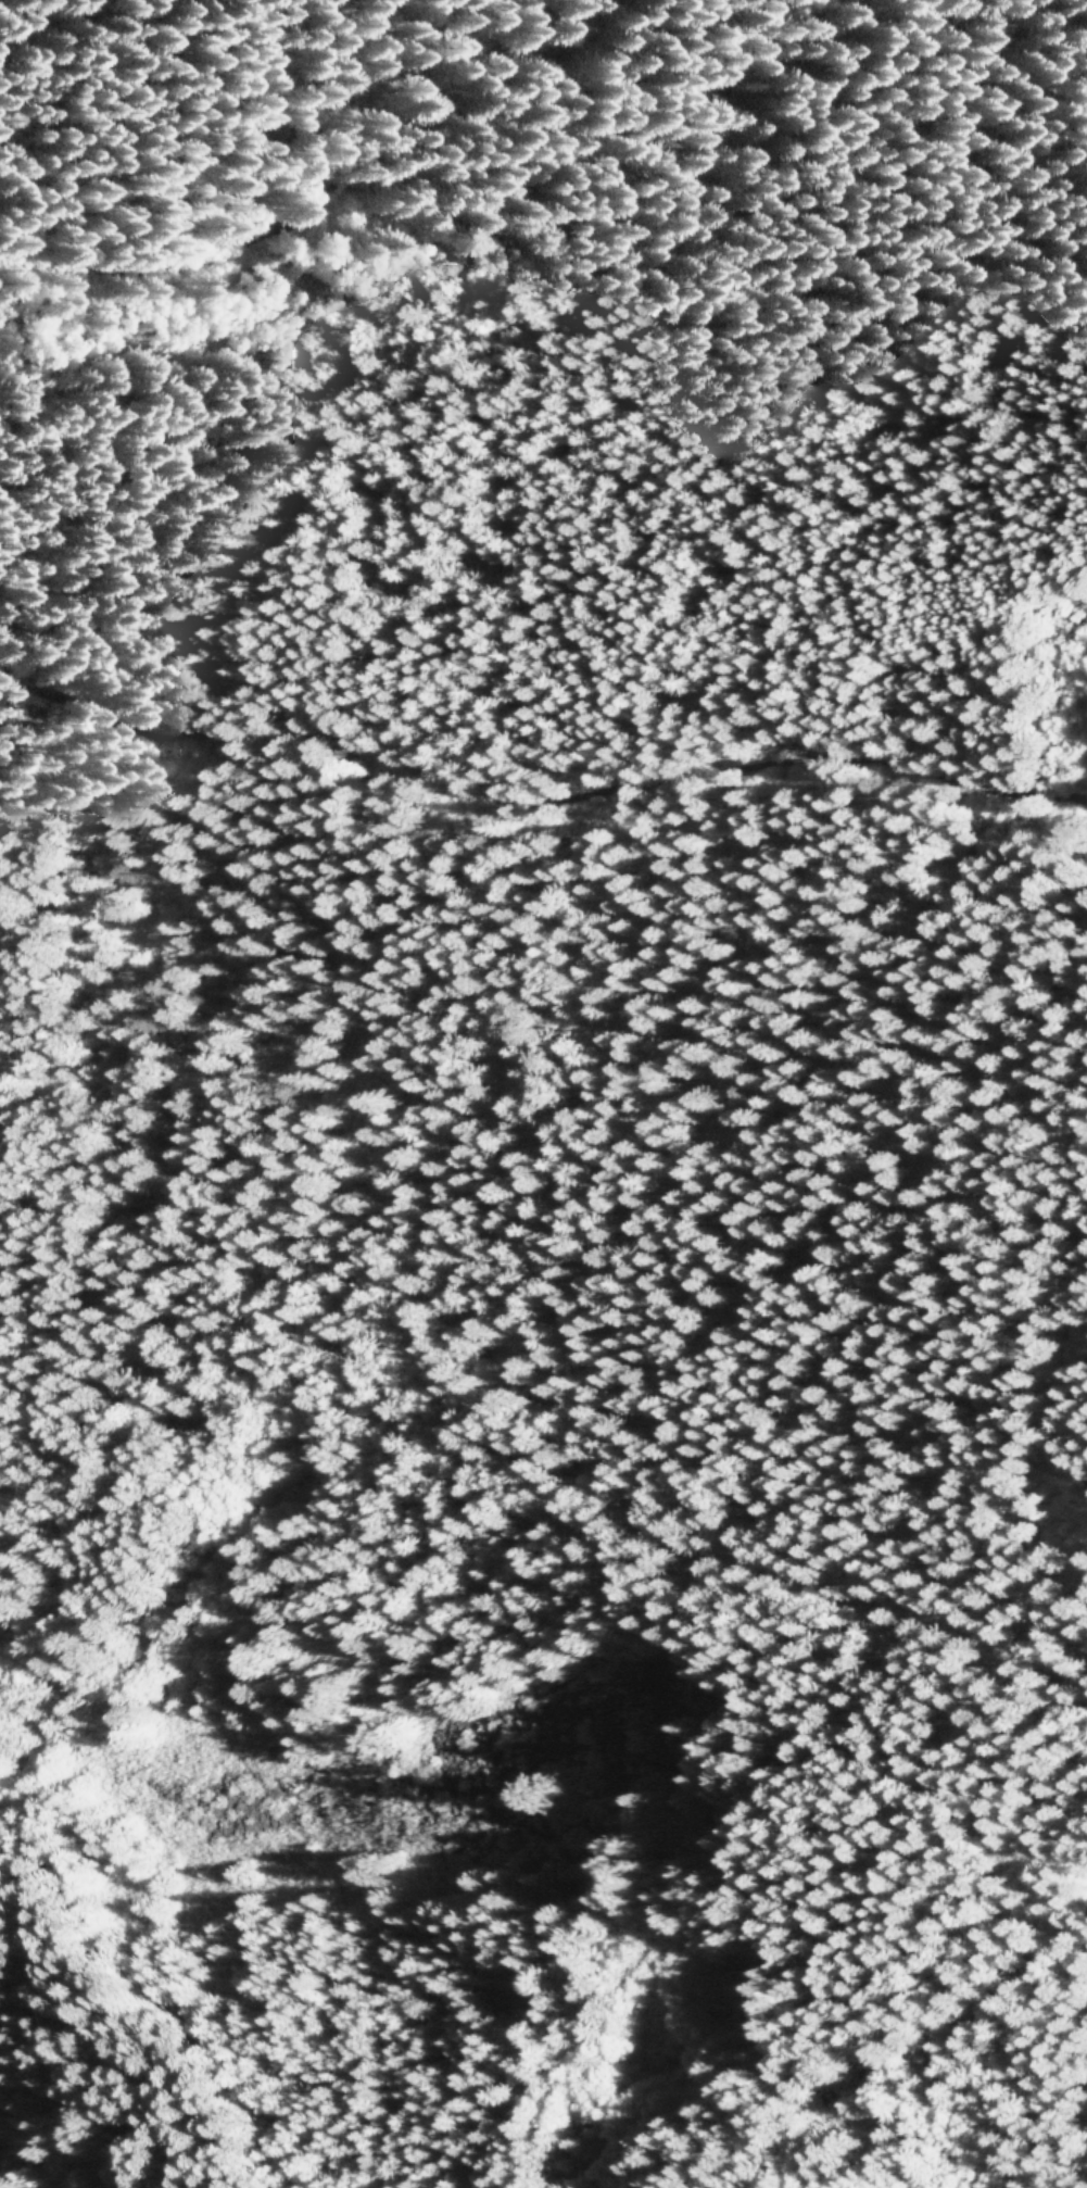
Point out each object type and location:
road: (543, 766)

